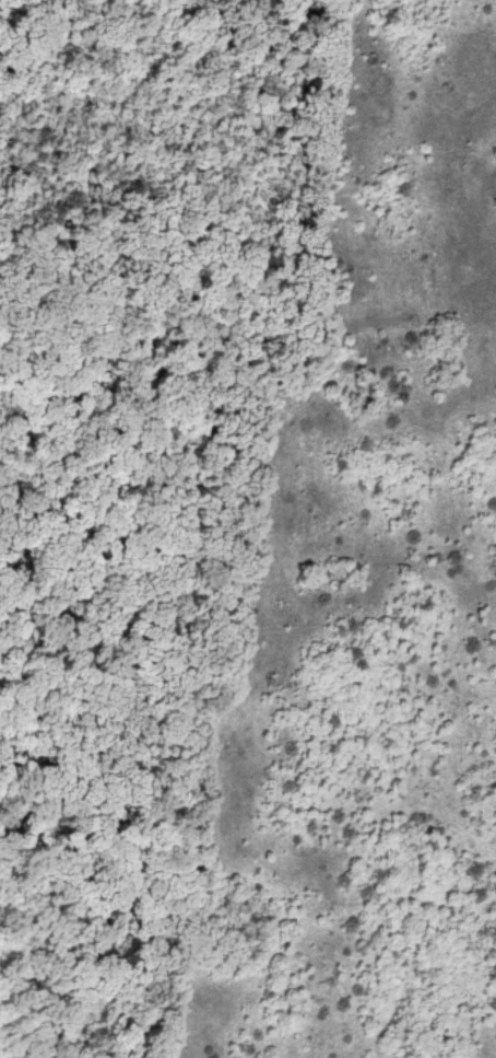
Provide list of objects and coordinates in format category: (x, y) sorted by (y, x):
road: (37, 514)
park: (248, 528)
road: (90, 571)

